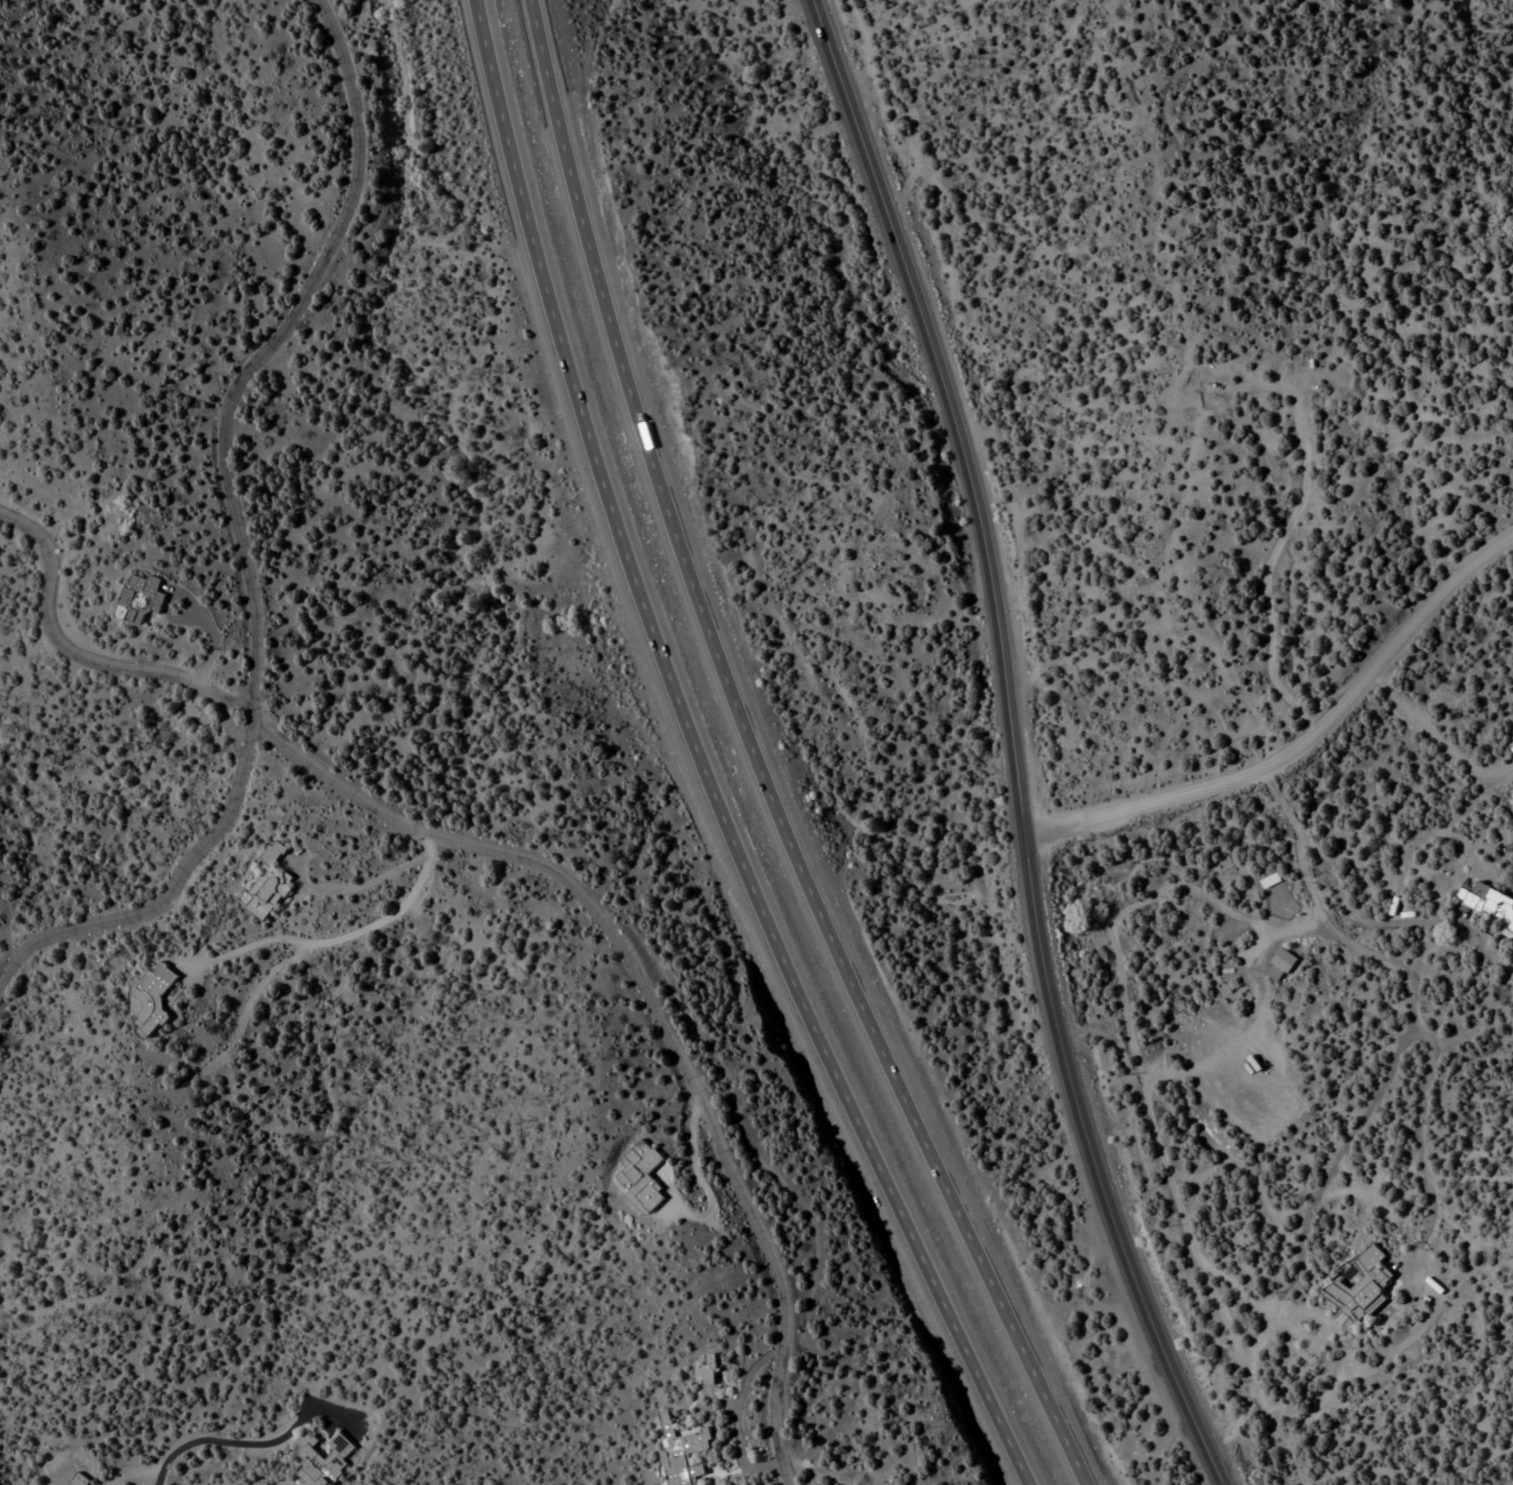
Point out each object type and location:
road: (269, 346)
building: (144, 597)
road: (199, 609)
road: (70, 650)
road: (226, 724)
road: (1300, 737)
road: (1013, 744)
road: (698, 761)
road: (753, 762)
building: (267, 882)
road: (1345, 892)
road: (163, 897)
building: (1494, 897)
building: (1512, 922)
road: (1122, 933)
building: (1283, 962)
building: (151, 997)
road: (652, 1007)
road: (1427, 1033)
building: (641, 1178)
road: (1310, 1221)
building: (1364, 1280)
building: (704, 1371)
road: (745, 1415)
road: (250, 1444)
building: (681, 1452)
building: (322, 1461)
building: (77, 1480)

